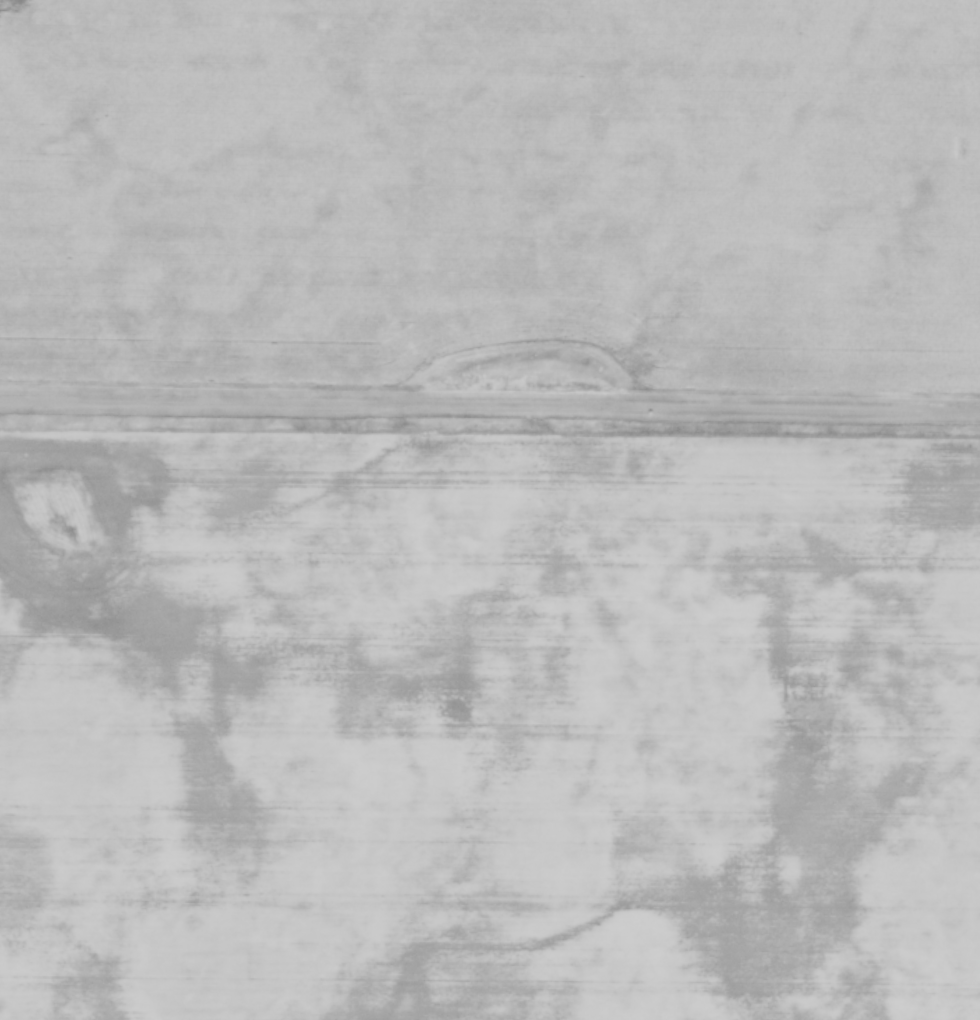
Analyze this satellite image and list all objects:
road: (490, 397)

